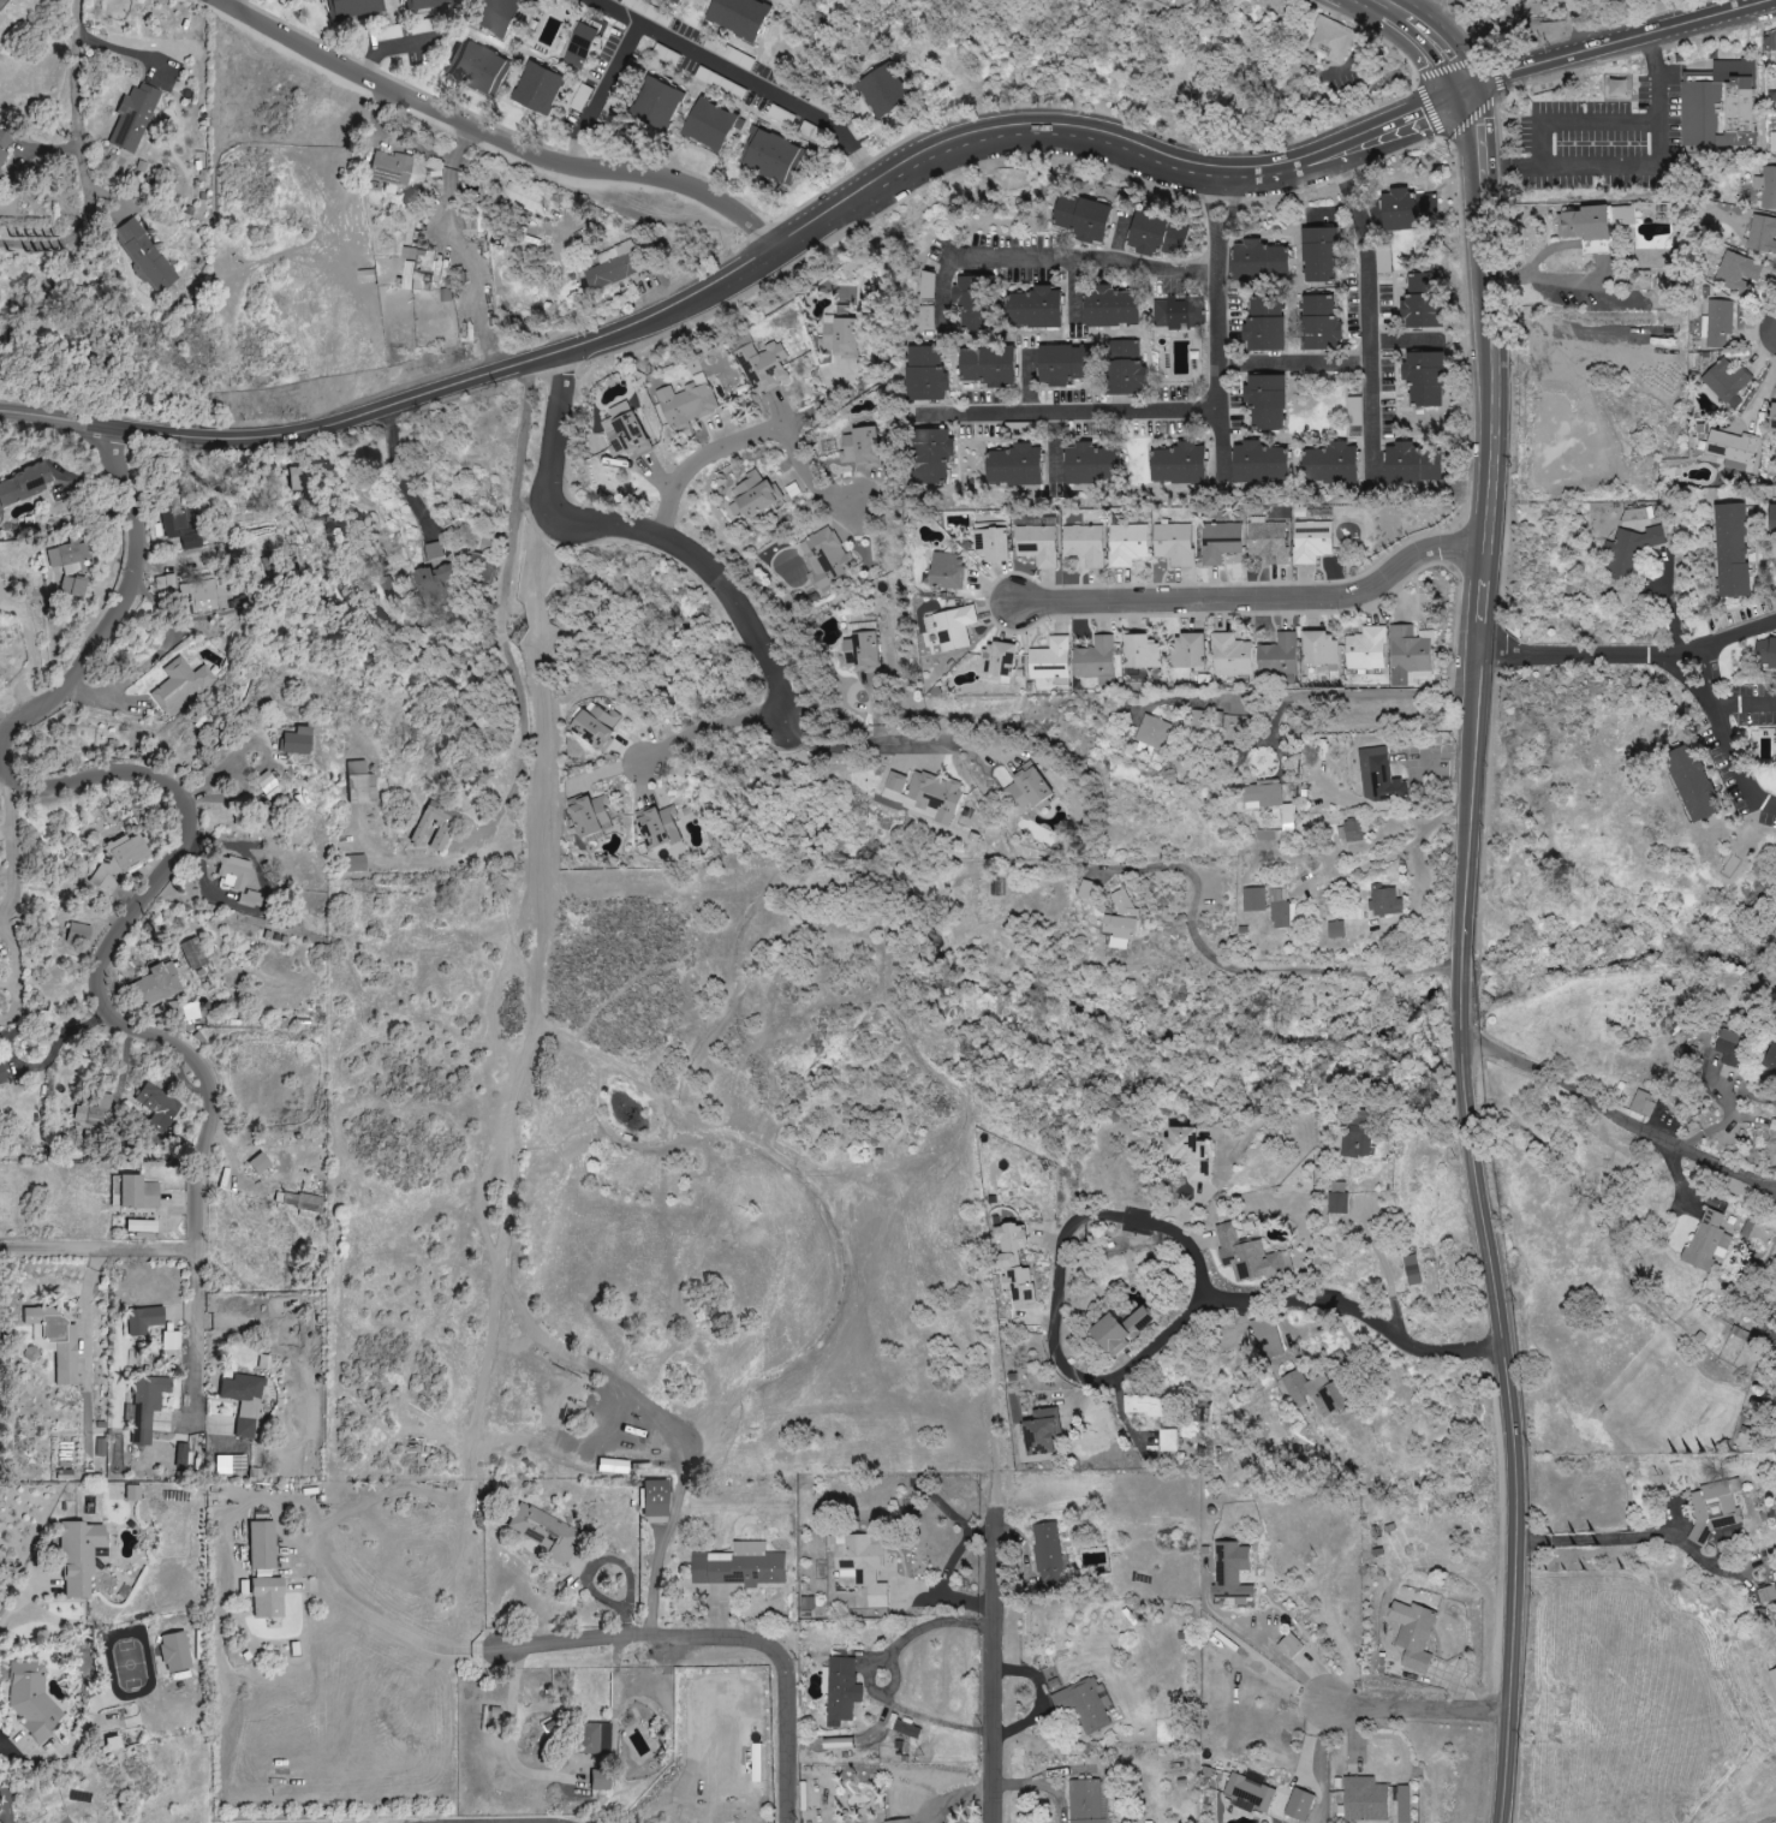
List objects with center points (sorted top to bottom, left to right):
building: (48, 0)
building: (678, 0)
road: (222, 1)
building: (424, 4)
building: (348, 7)
street lamp: (1675, 7)
road: (1428, 12)
building: (493, 14)
building: (738, 17)
street lamp: (288, 22)
road: (1577, 25)
street lamp: (1770, 28)
road: (1429, 36)
building: (1330, 38)
road: (1609, 42)
street lamp: (1548, 43)
building: (579, 44)
building: (476, 67)
building: (1775, 72)
road: (741, 82)
street lamp: (1410, 83)
building: (537, 88)
road: (77, 89)
building: (882, 90)
traffic signals: (1461, 93)
road: (598, 95)
street lamp: (1508, 95)
building: (656, 103)
building: (1717, 105)
building: (133, 118)
road: (1578, 120)
road: (1402, 121)
building: (710, 124)
street lamp: (1158, 129)
street lamp: (528, 136)
road: (496, 139)
building: (4, 147)
street lamp: (883, 147)
road: (1113, 148)
road: (1656, 155)
building: (770, 156)
street lamp: (1453, 157)
street lamp: (1043, 159)
building: (389, 167)
road: (1508, 168)
building: (1766, 187)
street lamp: (1288, 197)
building: (524, 198)
building: (1406, 210)
road: (829, 212)
street lamp: (767, 214)
building: (1081, 218)
building: (1586, 228)
building: (1762, 234)
building: (1157, 236)
road: (67, 240)
building: (143, 255)
building: (1318, 255)
building: (1259, 261)
road: (1081, 263)
building: (612, 267)
building: (1736, 272)
building: (406, 275)
road: (1602, 276)
building: (926, 302)
building: (972, 303)
building: (1420, 303)
building: (1110, 306)
building: (1033, 309)
building: (1175, 314)
road: (1369, 314)
road: (1485, 318)
building: (1716, 323)
building: (1264, 324)
road: (1217, 328)
building: (838, 336)
street lamp: (590, 364)
building: (1062, 364)
building: (762, 365)
building: (987, 365)
road: (1294, 367)
building: (1125, 368)
building: (925, 375)
building: (1423, 377)
building: (1724, 380)
road: (400, 401)
building: (1265, 401)
building: (687, 403)
street lamp: (1470, 403)
road: (1073, 415)
building: (1772, 418)
building: (622, 431)
road: (750, 440)
building: (858, 447)
building: (1730, 449)
building: (930, 455)
building: (1258, 463)
building: (1089, 464)
building: (1178, 464)
building: (1330, 464)
building: (1411, 464)
building: (1013, 466)
building: (306, 476)
street lamp: (566, 482)
building: (23, 483)
building: (751, 495)
road: (512, 499)
building: (1771, 519)
building: (181, 526)
street lamp: (1447, 526)
road: (636, 530)
building: (1218, 542)
building: (1267, 542)
building: (1311, 542)
building: (1173, 543)
building: (990, 544)
building: (1036, 544)
building: (1084, 544)
building: (1126, 544)
building: (1629, 549)
building: (433, 550)
building: (1730, 550)
building: (65, 553)
building: (826, 556)
building: (70, 568)
building: (946, 571)
building: (447, 579)
street lamp: (1199, 580)
street lamp: (1456, 584)
building: (72, 586)
building: (192, 591)
road: (1257, 602)
street lamp: (1340, 614)
street lamp: (1049, 619)
building: (952, 628)
street lamp: (776, 642)
building: (859, 649)
building: (1318, 649)
building: (1365, 649)
building: (1186, 650)
building: (1139, 653)
road: (1629, 654)
building: (1765, 654)
building: (1229, 656)
building: (1277, 656)
building: (1407, 656)
building: (1092, 659)
building: (996, 660)
building: (1049, 661)
road: (1704, 677)
building: (181, 685)
road: (1306, 695)
road: (1745, 707)
road: (10, 719)
building: (594, 726)
road: (709, 727)
road: (8, 732)
building: (1152, 732)
building: (1775, 735)
building: (296, 741)
road: (889, 745)
road: (1736, 764)
building: (1377, 776)
building: (360, 782)
building: (1691, 782)
building: (268, 785)
building: (1027, 790)
road: (1470, 792)
building: (923, 794)
building: (1262, 794)
building: (590, 816)
building: (1287, 816)
building: (657, 827)
building: (1349, 832)
building: (442, 833)
road: (191, 841)
building: (119, 860)
road: (1417, 862)
building: (356, 863)
building: (232, 872)
road: (13, 878)
building: (1087, 890)
building: (252, 899)
building: (1252, 899)
building: (1383, 901)
building: (1279, 908)
building: (1120, 923)
building: (1334, 930)
building: (79, 933)
building: (192, 952)
road: (1245, 970)
building: (156, 984)
building: (191, 1012)
building: (1728, 1048)
building: (1770, 1060)
building: (1, 1074)
building: (1643, 1104)
building: (156, 1107)
building: (94, 1110)
road: (1616, 1113)
building: (1772, 1126)
building: (1354, 1143)
building: (1187, 1152)
building: (258, 1163)
road: (1775, 1190)
building: (299, 1202)
building: (1336, 1203)
road: (1074, 1220)
building: (139, 1227)
building: (1706, 1241)
road: (97, 1249)
building: (1246, 1257)
road: (1381, 1263)
building: (1013, 1264)
building: (1411, 1270)
road: (85, 1310)
road: (1372, 1316)
building: (143, 1319)
building: (1119, 1329)
building: (1265, 1338)
building: (55, 1339)
building: (171, 1340)
building: (1315, 1392)
building: (244, 1400)
building: (147, 1405)
building: (1143, 1405)
road: (1512, 1429)
building: (1041, 1430)
building: (1167, 1440)
building: (231, 1464)
building: (613, 1465)
building: (132, 1491)
building: (655, 1497)
building: (1711, 1509)
building: (541, 1529)
road: (1591, 1538)
building: (261, 1544)
building: (1047, 1548)
building: (78, 1555)
road: (952, 1559)
building: (739, 1566)
building: (862, 1569)
building: (1230, 1572)
building: (1765, 1596)
building: (267, 1597)
road: (930, 1598)
road: (386, 1622)
road: (23, 1630)
building: (1412, 1633)
road: (717, 1640)
building: (1288, 1646)
building: (175, 1651)
road: (1277, 1661)
road: (865, 1674)
building: (1772, 1676)
road: (988, 1680)
building: (840, 1690)
building: (31, 1698)
road: (1414, 1706)
building: (905, 1729)
road: (511, 1735)
building: (594, 1738)
building: (836, 1744)
building: (600, 1779)
building: (1248, 1793)
building: (1363, 1799)
building: (1086, 1801)
building: (1402, 1804)
building: (1298, 1805)
building: (896, 1822)

